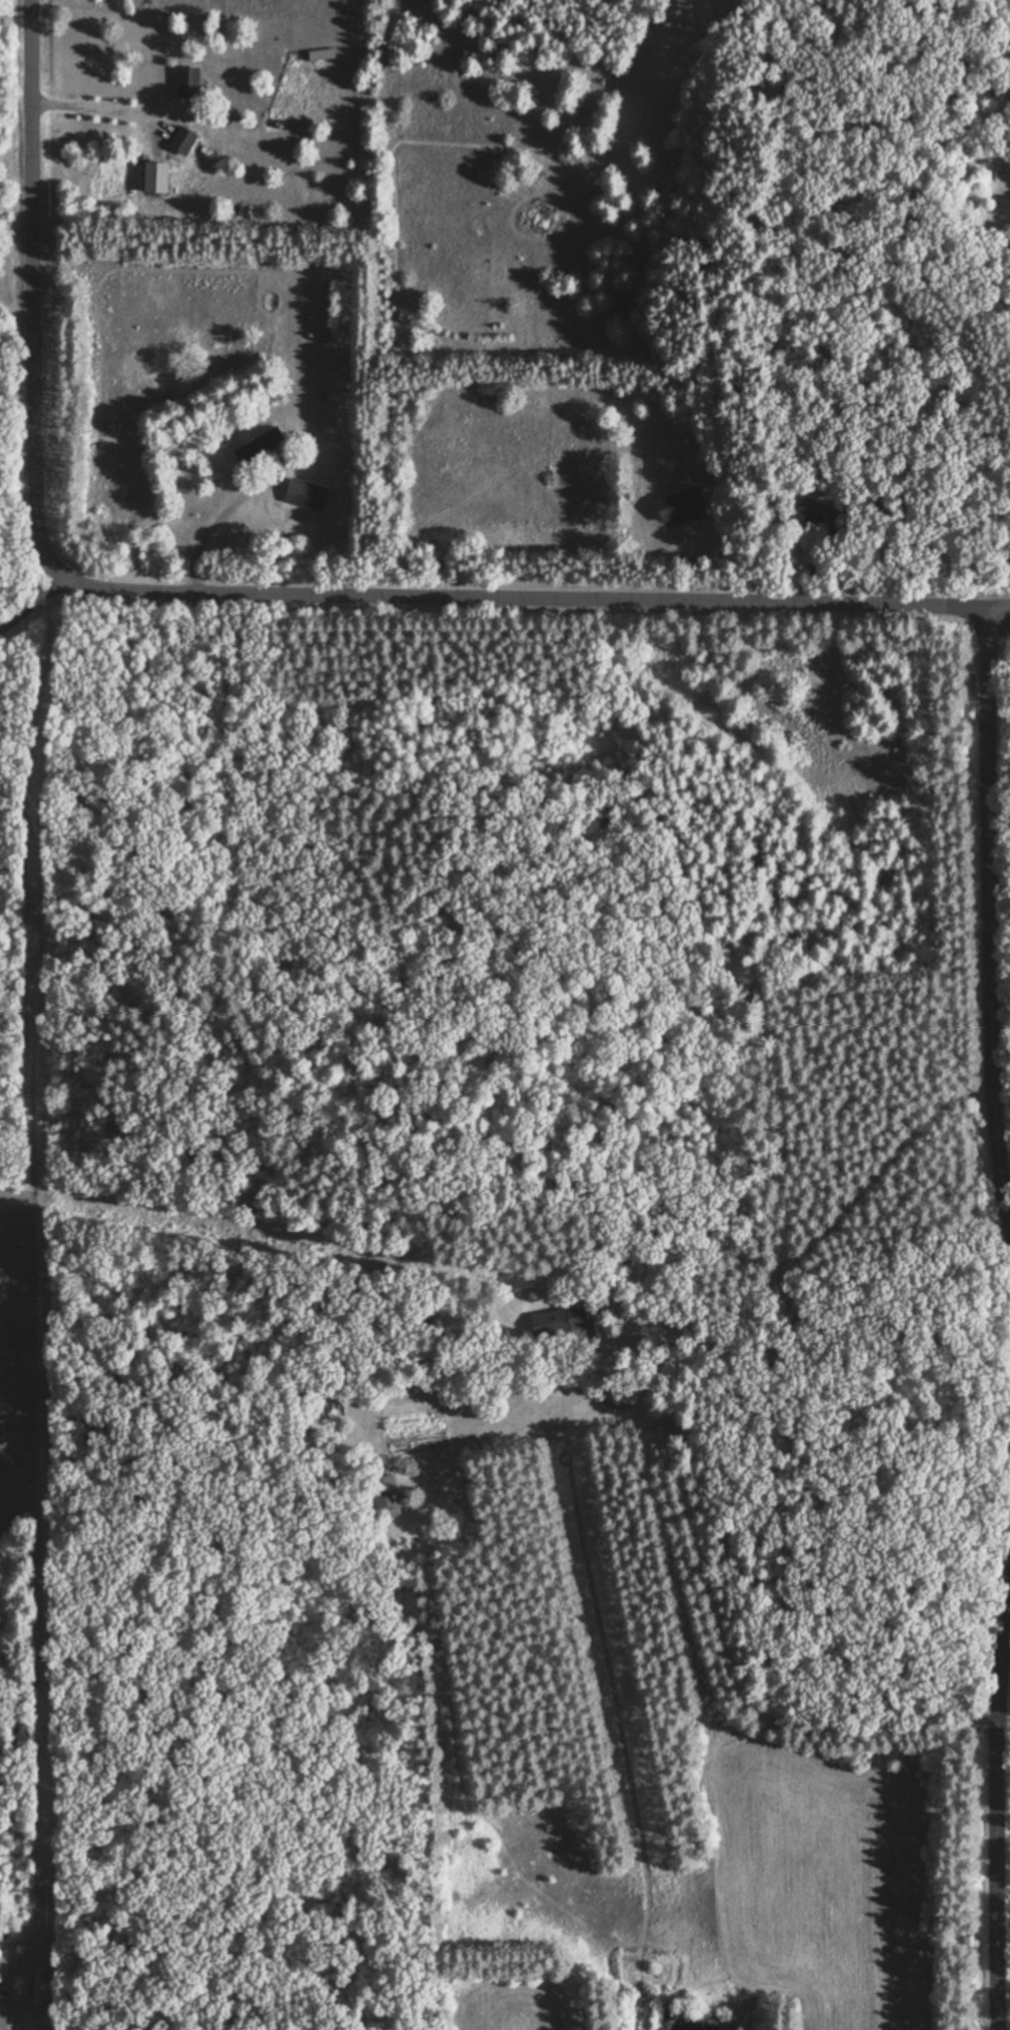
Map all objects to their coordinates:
building: (212, 67)
building: (184, 80)
building: (179, 139)
building: (327, 306)
building: (257, 444)
building: (304, 492)
building: (677, 502)
building: (799, 516)
road: (232, 593)
road: (34, 606)
road: (999, 609)
road: (989, 919)
building: (561, 1319)
building: (382, 1496)
road: (995, 1796)
road: (10, 2012)
building: (2, 2021)

